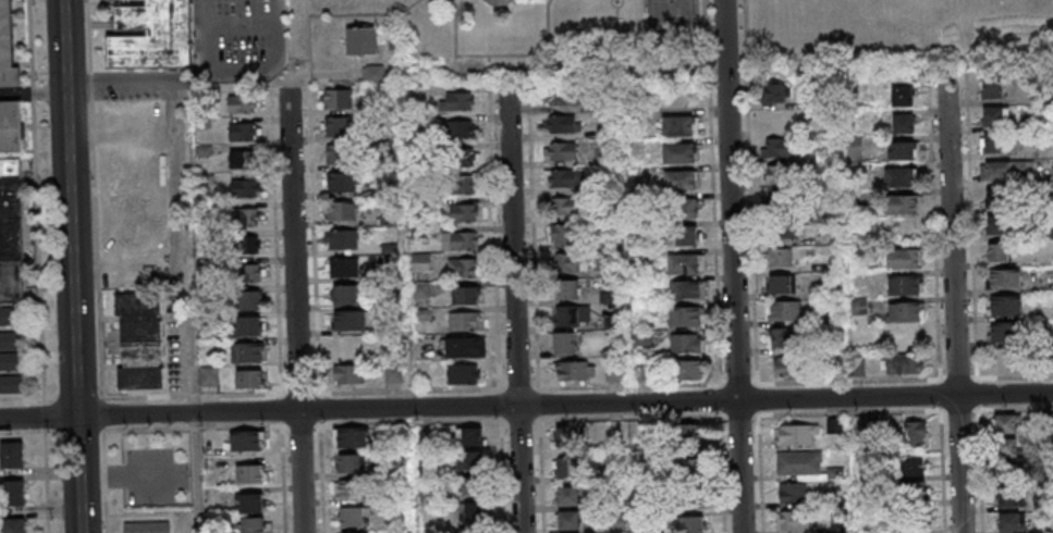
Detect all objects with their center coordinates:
building: (515, 0)
building: (501, 2)
road: (452, 7)
road: (364, 12)
park: (966, 13)
building: (150, 34)
building: (364, 40)
road: (63, 42)
building: (7, 49)
road: (509, 53)
road: (489, 67)
road: (528, 69)
building: (992, 88)
building: (856, 89)
building: (775, 91)
building: (564, 95)
building: (902, 96)
building: (338, 99)
building: (456, 100)
building: (242, 103)
building: (383, 106)
building: (1044, 114)
building: (995, 115)
building: (634, 119)
building: (203, 121)
building: (133, 122)
building: (561, 123)
building: (903, 123)
building: (11, 125)
building: (677, 125)
building: (340, 127)
building: (461, 128)
building: (383, 131)
building: (605, 131)
building: (242, 132)
building: (992, 142)
building: (781, 147)
building: (852, 147)
building: (203, 149)
building: (562, 149)
building: (903, 149)
building: (679, 152)
building: (340, 156)
building: (460, 157)
building: (242, 159)
building: (131, 169)
building: (1006, 169)
building: (1052, 172)
building: (775, 174)
building: (417, 175)
building: (899, 176)
building: (568, 177)
building: (206, 178)
building: (679, 178)
building: (342, 183)
building: (457, 183)
building: (243, 187)
road: (187, 190)
road: (750, 191)
road: (712, 193)
road: (313, 197)
building: (999, 198)
building: (773, 200)
road: (36, 201)
building: (417, 201)
building: (902, 203)
building: (565, 206)
building: (1045, 206)
building: (684, 207)
building: (342, 211)
building: (463, 211)
road: (95, 213)
building: (132, 215)
building: (245, 216)
road: (967, 216)
building: (388, 219)
building: (997, 224)
building: (782, 227)
road: (931, 228)
building: (11, 230)
building: (418, 233)
building: (1048, 233)
building: (561, 234)
building: (686, 234)
road: (493, 235)
road: (532, 236)
building: (341, 239)
building: (461, 239)
road: (276, 240)
building: (246, 243)
building: (856, 249)
building: (997, 251)
building: (901, 258)
building: (639, 259)
building: (780, 259)
building: (137, 260)
building: (420, 260)
building: (571, 262)
building: (685, 262)
building: (464, 266)
road: (739, 266)
building: (343, 268)
building: (246, 272)
building: (1004, 278)
building: (780, 284)
building: (904, 285)
building: (420, 289)
building: (565, 289)
building: (686, 289)
building: (828, 290)
building: (345, 295)
building: (464, 295)
building: (609, 297)
building: (249, 299)
building: (1004, 305)
building: (859, 306)
road: (952, 308)
road: (73, 309)
road: (519, 309)
building: (640, 309)
road: (295, 310)
building: (783, 310)
building: (905, 311)
building: (424, 312)
building: (575, 314)
building: (684, 315)
building: (11, 317)
building: (830, 318)
building: (348, 320)
building: (464, 320)
building: (612, 321)
building: (249, 325)
building: (1005, 332)
building: (784, 336)
building: (644, 337)
building: (11, 339)
building: (139, 340)
building: (564, 342)
building: (687, 343)
building: (465, 346)
building: (351, 347)
building: (246, 351)
building: (11, 359)
building: (1005, 361)
building: (902, 363)
building: (789, 365)
building: (858, 367)
building: (574, 370)
building: (689, 370)
building: (613, 372)
building: (640, 372)
building: (393, 373)
building: (463, 373)
building: (347, 374)
road: (952, 374)
road: (967, 374)
building: (208, 375)
building: (248, 377)
road: (534, 377)
road: (517, 380)
road: (847, 380)
building: (12, 383)
road: (502, 383)
road: (647, 384)
road: (406, 391)
road: (546, 391)
road: (492, 392)
road: (299, 393)
road: (193, 395)
road: (546, 405)
road: (492, 406)
road: (526, 406)
road: (44, 416)
road: (500, 422)
road: (539, 422)
building: (1004, 423)
building: (834, 424)
road: (519, 427)
road: (68, 433)
building: (916, 433)
road: (51, 434)
building: (798, 434)
building: (351, 436)
building: (469, 436)
building: (570, 436)
building: (690, 436)
building: (247, 439)
road: (103, 444)
building: (1009, 448)
building: (12, 455)
building: (350, 462)
building: (472, 462)
building: (804, 464)
building: (914, 466)
building: (567, 467)
building: (694, 470)
road: (123, 473)
building: (250, 473)
parking lot: (154, 474)
road: (103, 475)
road: (47, 480)
building: (474, 487)
building: (350, 488)
building: (792, 492)
building: (14, 493)
building: (915, 493)
building: (211, 494)
building: (568, 495)
building: (1007, 497)
building: (691, 499)
building: (252, 503)
road: (105, 511)
building: (473, 512)
building: (355, 516)
building: (568, 520)
building: (794, 520)
building: (1009, 521)
building: (255, 524)
building: (694, 524)
building: (14, 525)
building: (147, 526)
building: (350, 532)
building: (916, 532)

